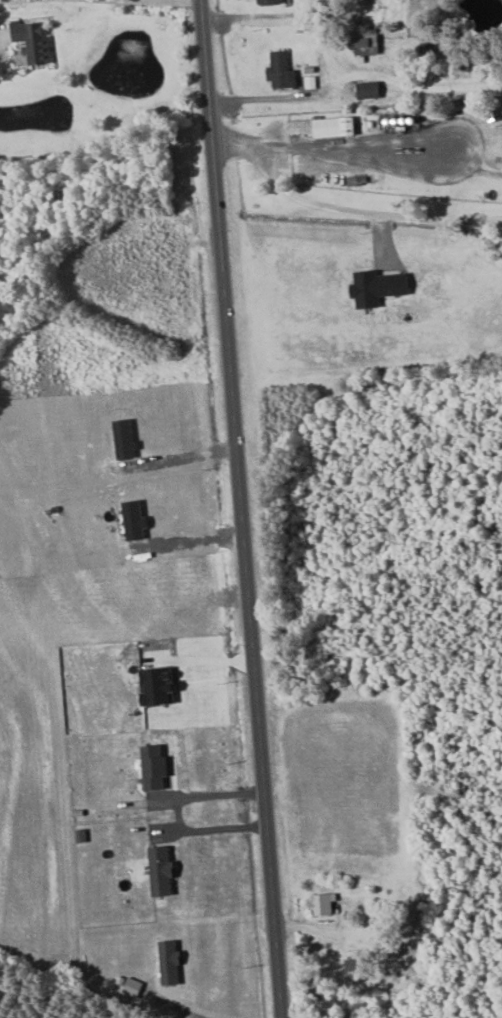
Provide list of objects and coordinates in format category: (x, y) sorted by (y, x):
road: (161, 1)
building: (272, 2)
building: (35, 40)
building: (368, 47)
road: (353, 68)
building: (283, 70)
building: (372, 90)
building: (327, 127)
building: (359, 181)
road: (340, 207)
building: (381, 288)
road: (242, 508)
building: (164, 685)
building: (158, 767)
road: (217, 827)
building: (164, 871)
building: (324, 904)
building: (172, 963)
road: (192, 1012)

